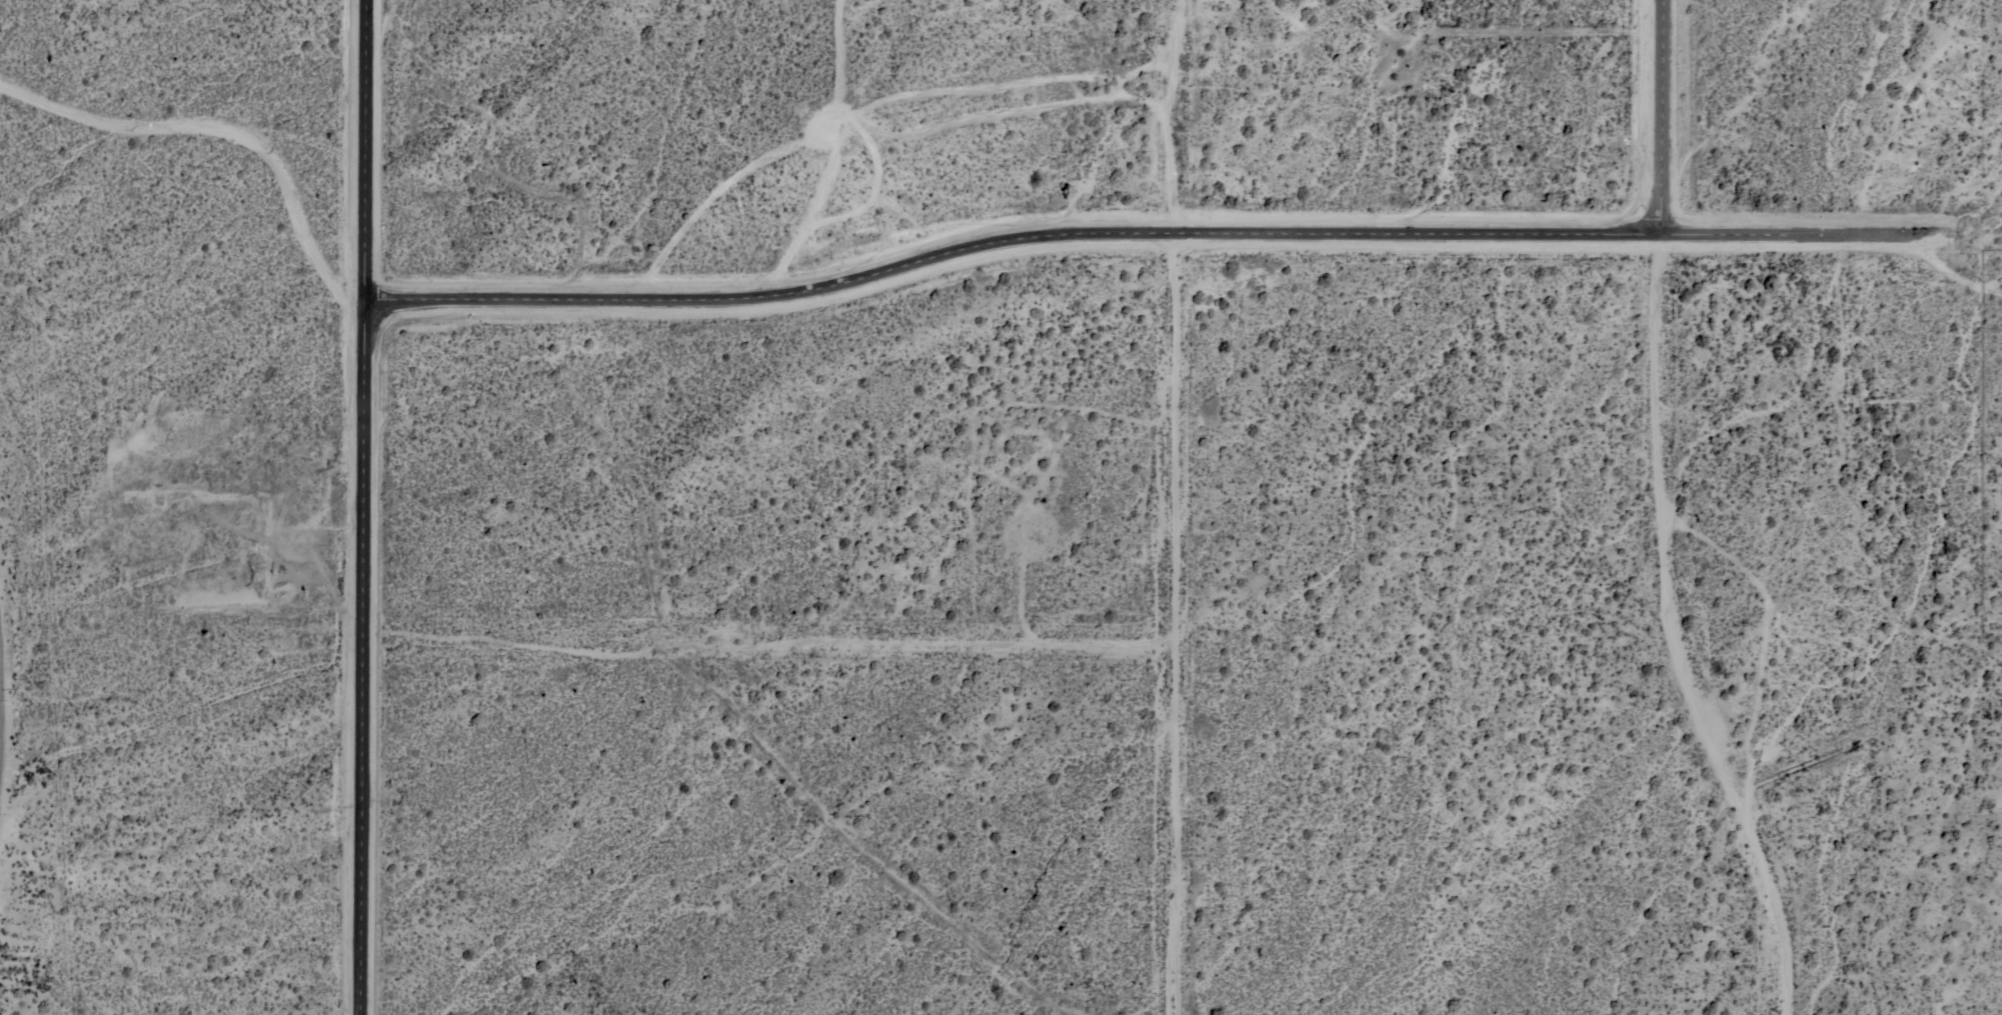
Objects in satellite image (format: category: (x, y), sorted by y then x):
road: (1663, 116)
road: (226, 131)
road: (1787, 232)
road: (1010, 234)
road: (1952, 270)
road: (364, 507)
road: (1175, 622)
road: (1676, 631)
road: (987, 642)

